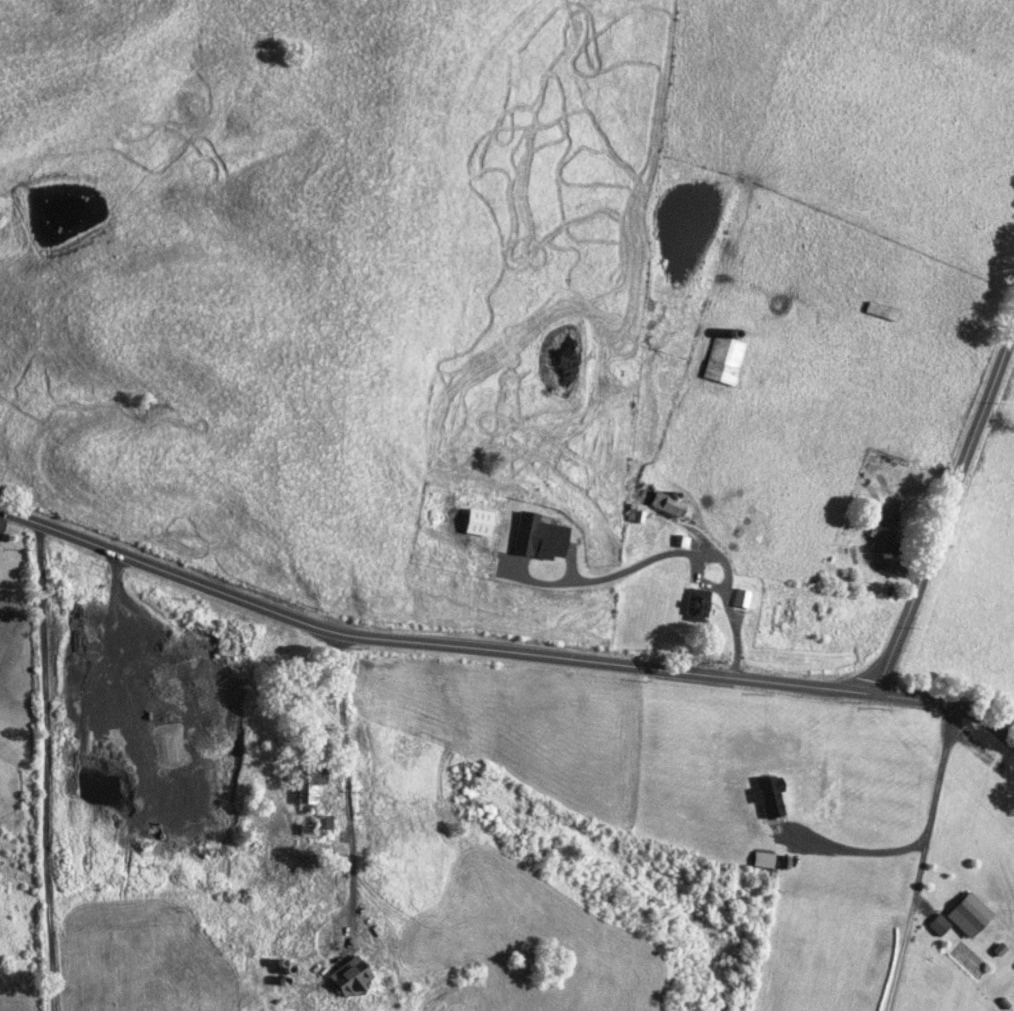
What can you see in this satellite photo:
building: (882, 310)
building: (723, 359)
building: (671, 505)
road: (944, 508)
building: (635, 512)
building: (540, 536)
building: (886, 540)
building: (742, 597)
building: (697, 604)
road: (503, 646)
building: (309, 791)
building: (969, 914)
building: (938, 924)
building: (352, 976)

